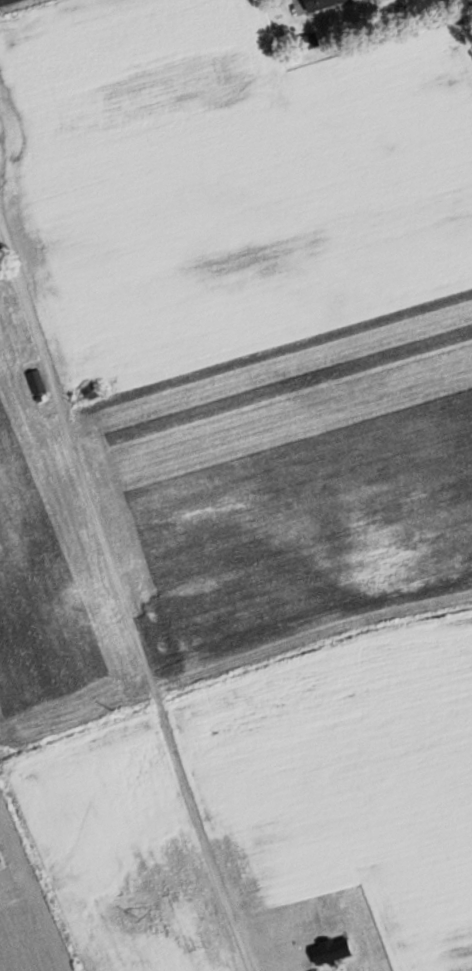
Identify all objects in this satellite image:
building: (323, 3)
building: (36, 381)

